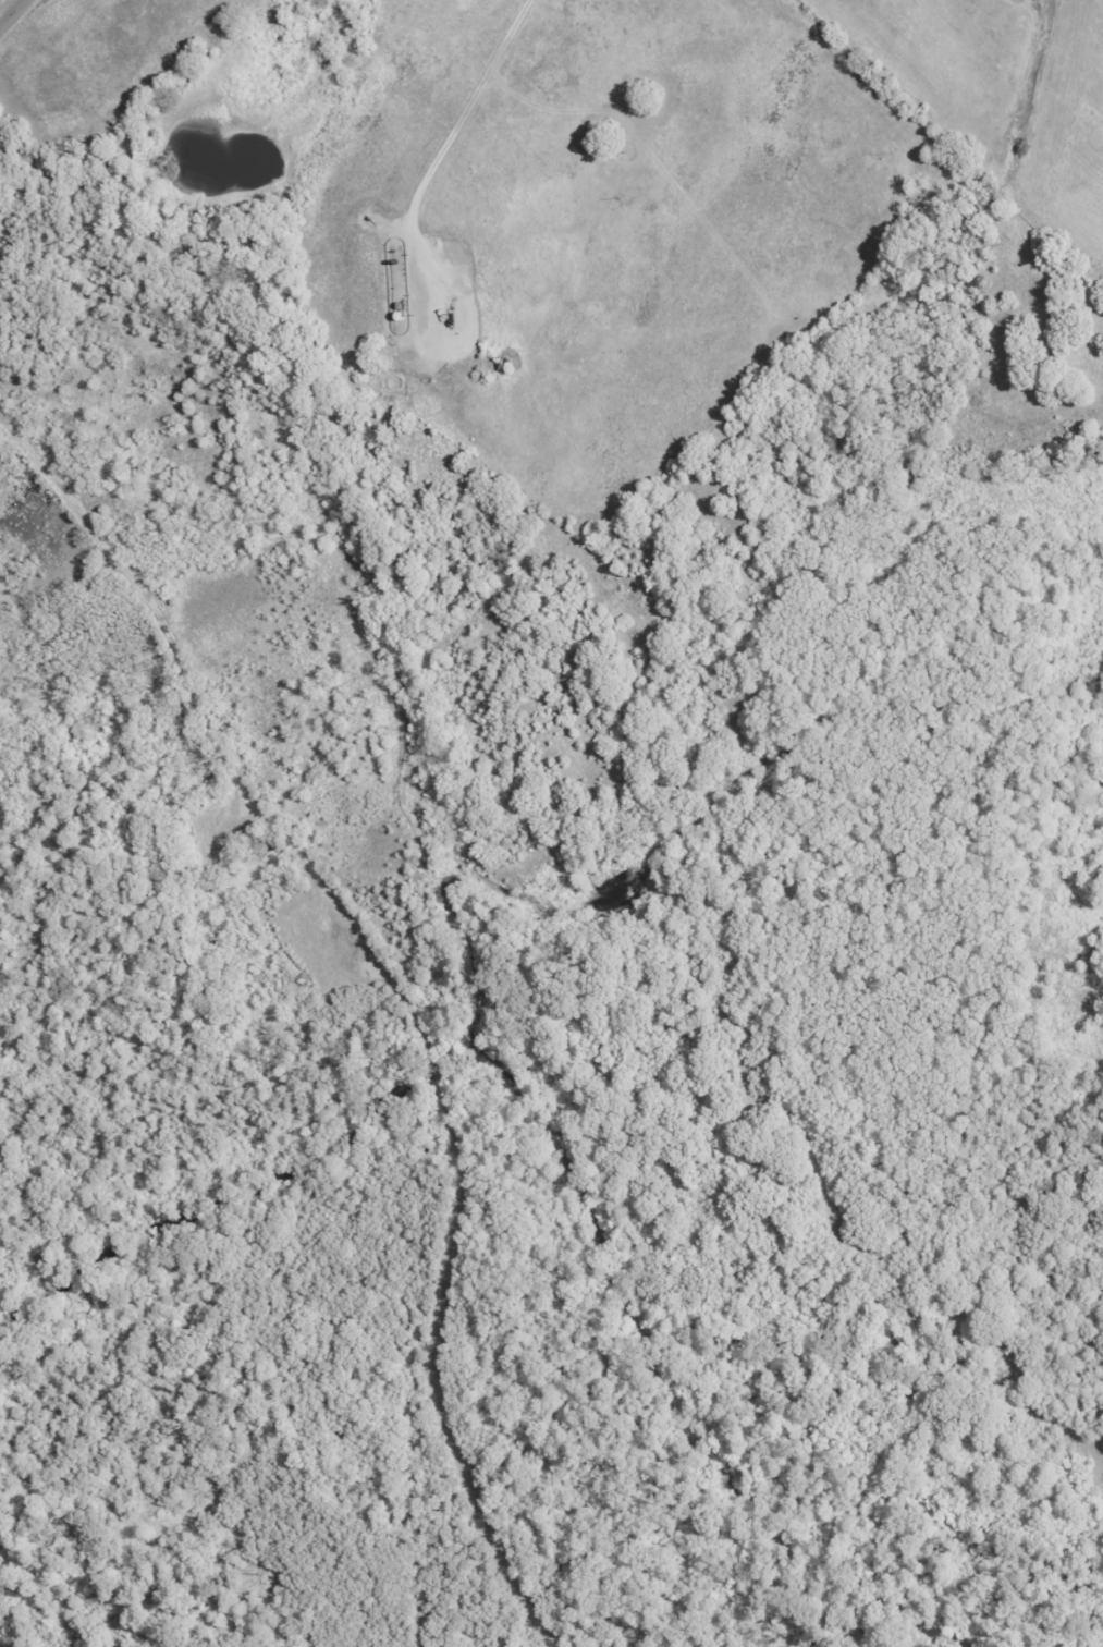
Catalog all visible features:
road: (11, 12)
road: (365, 952)

